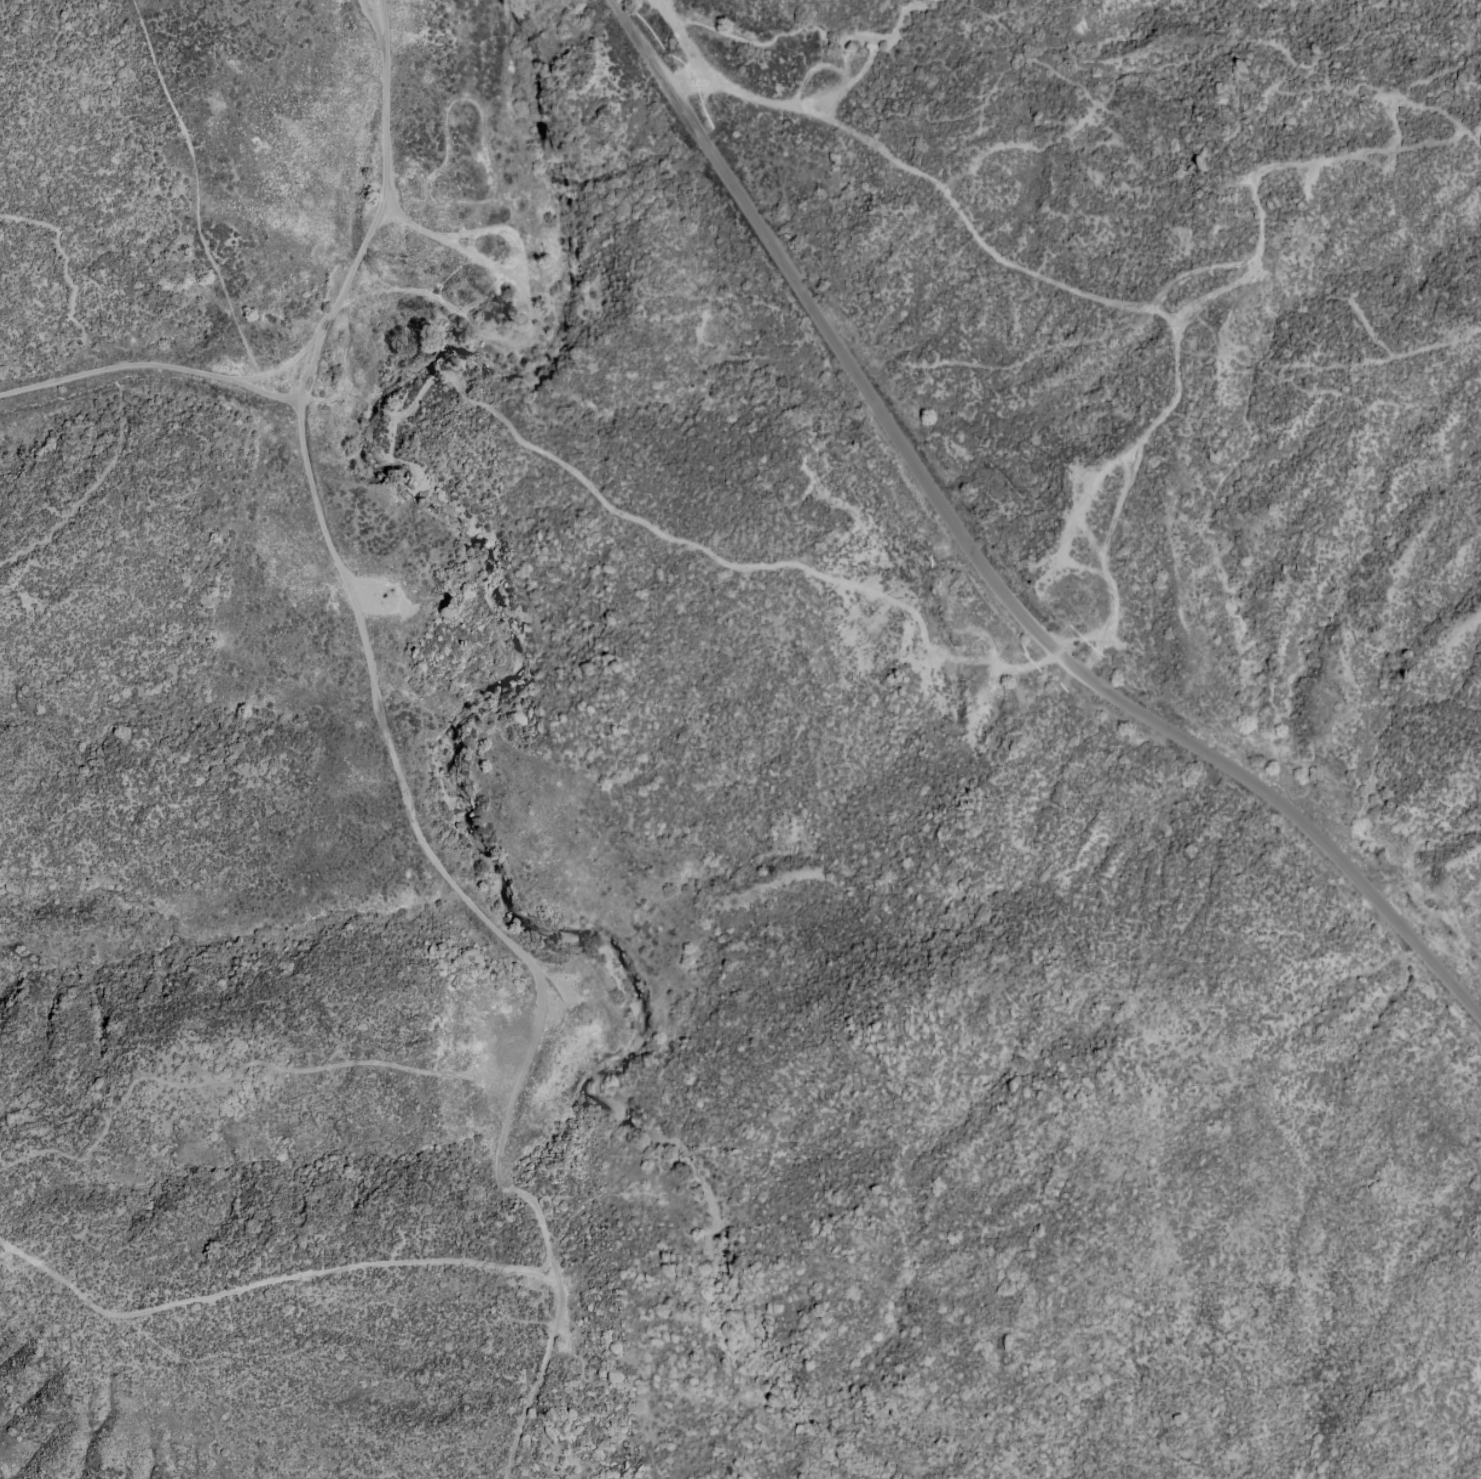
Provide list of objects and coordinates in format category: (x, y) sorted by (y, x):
road: (313, 347)
road: (983, 566)

